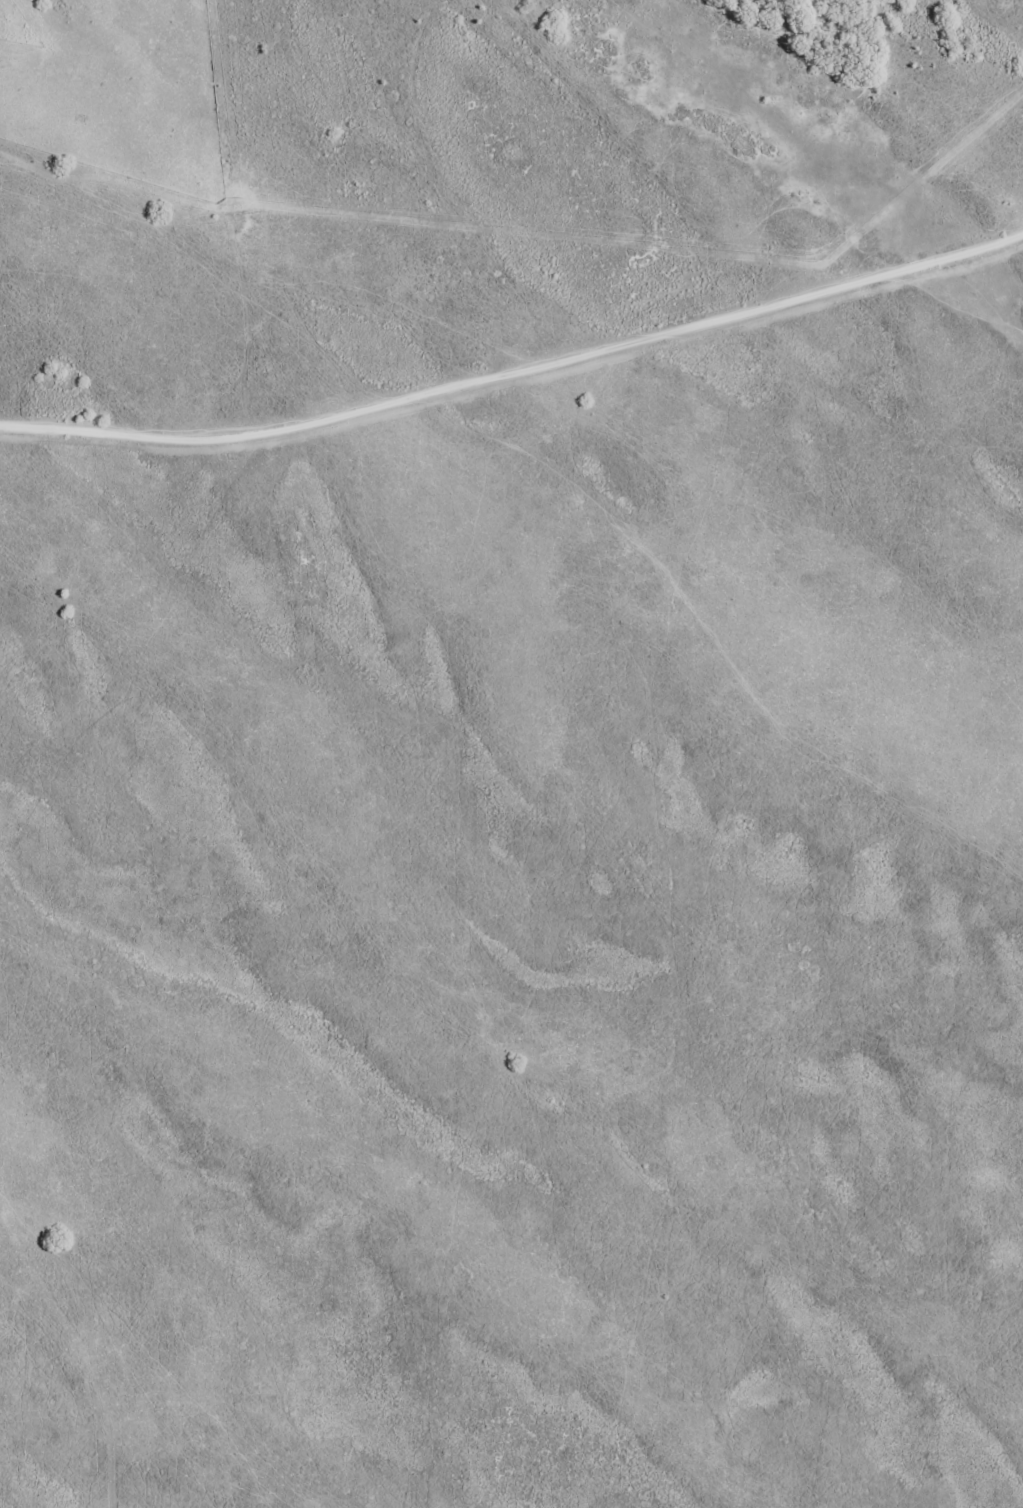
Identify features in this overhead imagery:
road: (517, 373)

